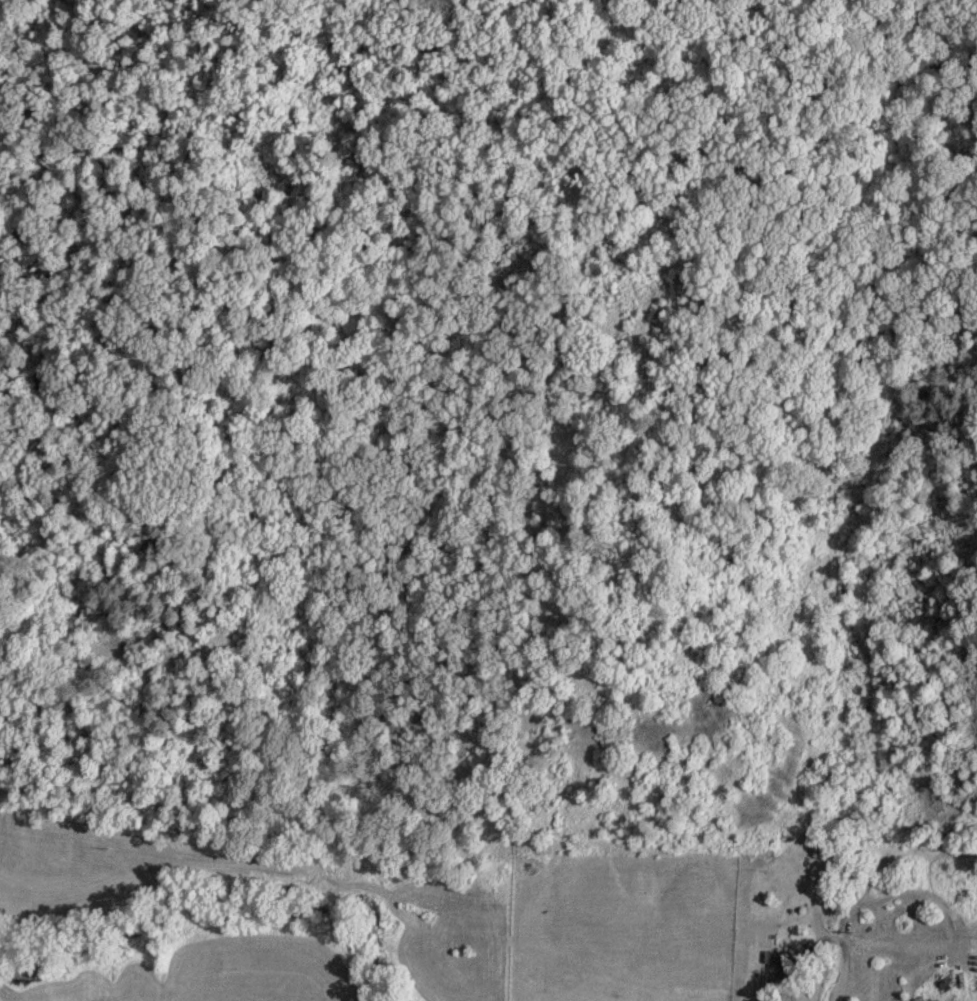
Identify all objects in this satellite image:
road: (836, 980)

